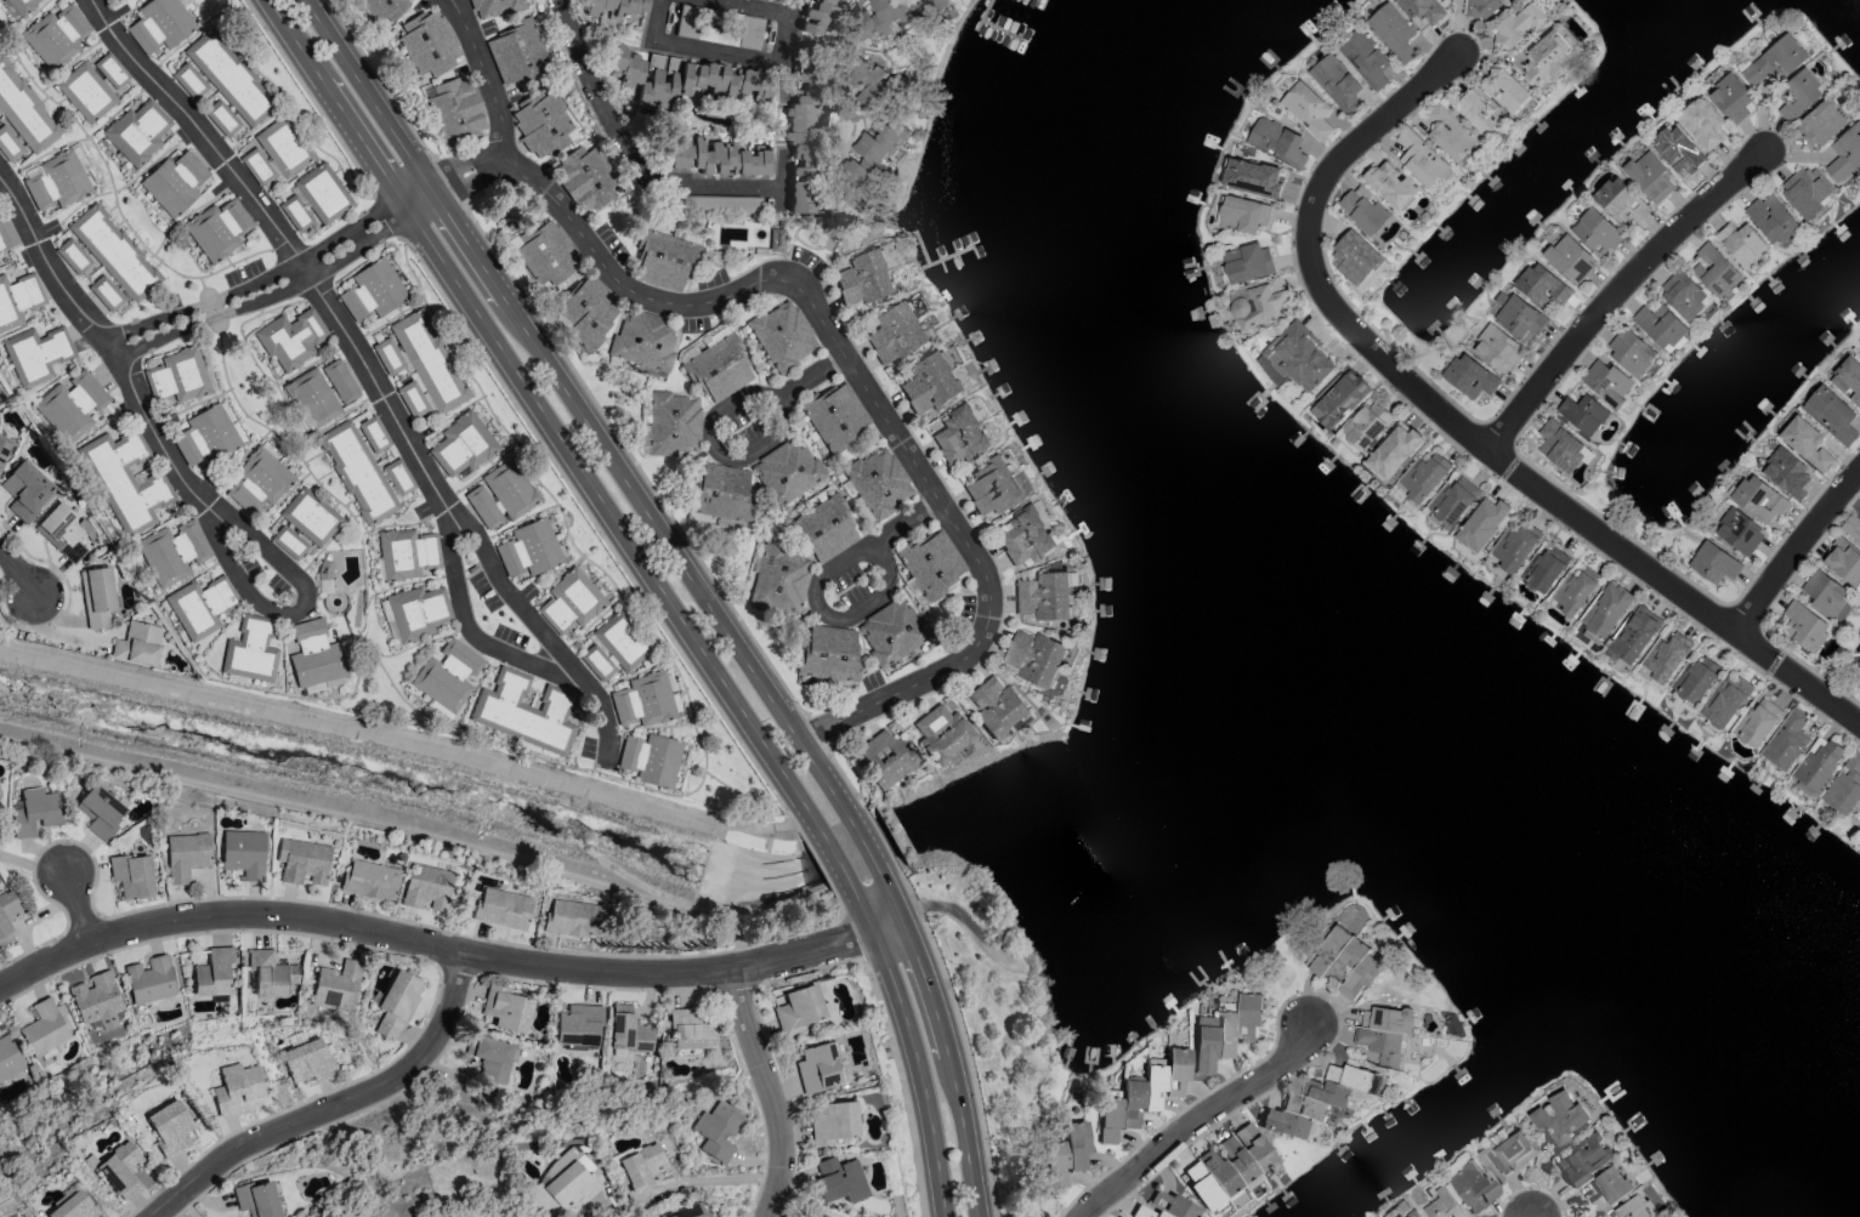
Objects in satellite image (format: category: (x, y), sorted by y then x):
building: (109, 0)
building: (22, 5)
building: (1482, 6)
building: (380, 7)
road: (453, 7)
building: (493, 7)
road: (756, 7)
building: (614, 10)
building: (1423, 10)
building: (906, 12)
road: (124, 13)
building: (818, 15)
road: (24, 22)
building: (160, 24)
building: (1521, 25)
road: (789, 30)
building: (1393, 32)
building: (57, 34)
road: (191, 36)
building: (429, 42)
road: (696, 50)
building: (516, 52)
building: (1550, 55)
road: (74, 59)
building: (1367, 61)
building: (1776, 61)
building: (108, 68)
building: (229, 78)
road: (378, 78)
building: (679, 79)
building: (188, 80)
road: (489, 83)
building: (1337, 83)
building: (11, 85)
building: (875, 85)
building: (1505, 90)
building: (85, 92)
building: (1802, 93)
road: (311, 98)
building: (1731, 98)
building: (455, 107)
road: (290, 110)
building: (1308, 110)
building: (1479, 110)
building: (221, 119)
building: (543, 123)
building: (1702, 123)
building: (1822, 123)
building: (27, 126)
building: (804, 129)
road: (254, 130)
building: (137, 131)
road: (1368, 133)
building: (1450, 133)
road: (83, 138)
building: (1275, 141)
building: (1678, 150)
building: (273, 152)
building: (1843, 155)
building: (1420, 158)
building: (715, 159)
building: (871, 160)
road: (637, 169)
building: (1650, 177)
building: (585, 178)
building: (1254, 178)
road: (450, 181)
road: (1, 182)
building: (58, 182)
building: (174, 182)
building: (1391, 184)
road: (119, 188)
building: (1805, 192)
building: (312, 199)
road: (117, 200)
building: (1621, 201)
building: (1365, 209)
road: (191, 211)
building: (1243, 215)
road: (386, 216)
building: (1771, 218)
building: (217, 228)
building: (1597, 232)
building: (6, 233)
building: (92, 239)
building: (776, 240)
building: (1741, 243)
building: (545, 252)
building: (1570, 260)
building: (662, 261)
building: (1357, 261)
building: (1248, 263)
building: (1714, 271)
building: (125, 277)
building: (864, 279)
road: (277, 283)
building: (1542, 286)
road: (1621, 289)
building: (372, 291)
building: (1683, 294)
building: (17, 298)
building: (1257, 303)
building: (585, 311)
building: (1518, 317)
building: (1661, 326)
building: (896, 334)
building: (782, 335)
road: (102, 336)
building: (291, 337)
building: (645, 339)
building: (410, 343)
building: (1496, 347)
building: (1631, 351)
building: (35, 354)
building: (1859, 357)
building: (1295, 359)
road: (846, 362)
building: (718, 368)
road: (369, 373)
road: (813, 374)
building: (178, 377)
building: (1470, 377)
building: (1848, 380)
building: (340, 381)
building: (1607, 382)
building: (929, 385)
building: (435, 386)
building: (312, 398)
building: (1338, 398)
building: (72, 404)
road: (191, 405)
building: (1583, 413)
building: (835, 415)
building: (1831, 415)
building: (673, 422)
building: (1365, 426)
building: (208, 434)
building: (958, 437)
road: (710, 439)
building: (1807, 443)
building: (463, 444)
building: (353, 445)
building: (1559, 445)
building: (4, 447)
building: (1394, 450)
road: (607, 455)
road: (575, 460)
road: (634, 461)
road: (236, 462)
building: (786, 471)
building: (1786, 471)
building: (1423, 477)
building: (129, 479)
building: (257, 480)
building: (878, 482)
building: (992, 487)
building: (379, 488)
building: (25, 490)
building: (719, 491)
building: (500, 495)
building: (1453, 500)
building: (1758, 500)
road: (1560, 501)
road: (279, 502)
building: (310, 517)
road: (907, 519)
building: (1482, 524)
building: (1852, 527)
building: (824, 529)
building: (61, 531)
building: (1740, 533)
building: (1027, 536)
building: (288, 542)
building: (1515, 546)
building: (528, 548)
road: (1798, 550)
building: (172, 552)
building: (408, 553)
building: (931, 562)
building: (1843, 562)
building: (1714, 563)
building: (1544, 569)
road: (626, 570)
road: (18, 573)
building: (776, 579)
building: (1575, 591)
building: (1824, 592)
building: (1044, 596)
building: (97, 597)
building: (569, 602)
building: (200, 605)
road: (461, 609)
building: (1606, 609)
road: (296, 612)
building: (418, 612)
road: (832, 614)
building: (1804, 626)
building: (892, 630)
building: (1634, 635)
road: (414, 643)
building: (137, 644)
building: (613, 647)
building: (250, 649)
building: (828, 652)
building: (312, 653)
building: (1034, 658)
building: (1663, 659)
road: (670, 660)
building: (447, 675)
building: (1695, 679)
building: (323, 684)
road: (330, 695)
building: (643, 699)
building: (1725, 701)
building: (503, 703)
building: (997, 706)
building: (549, 722)
building: (1757, 723)
road: (816, 732)
building: (941, 733)
building: (1786, 740)
building: (651, 758)
building: (885, 758)
building: (1818, 763)
building: (1845, 785)
road: (739, 791)
building: (100, 811)
building: (35, 812)
road: (345, 817)
building: (187, 852)
building: (243, 854)
building: (301, 860)
building: (132, 876)
building: (369, 880)
building: (425, 887)
road: (79, 905)
building: (501, 908)
road: (957, 911)
building: (7, 914)
building: (571, 917)
road: (886, 922)
road: (851, 938)
road: (431, 943)
building: (1345, 962)
building: (214, 972)
road: (942, 972)
building: (271, 973)
building: (151, 979)
building: (336, 985)
building: (98, 1000)
building: (396, 1002)
building: (505, 1008)
building: (799, 1008)
building: (374, 1018)
building: (578, 1024)
building: (45, 1028)
building: (628, 1030)
building: (691, 1030)
building: (1225, 1031)
building: (1385, 1034)
building: (490, 1057)
building: (8, 1058)
building: (307, 1060)
road: (949, 1063)
building: (817, 1068)
road: (918, 1070)
road: (905, 1085)
building: (237, 1087)
road: (769, 1091)
building: (1141, 1094)
building: (1314, 1102)
road: (334, 1104)
building: (1559, 1118)
road: (1195, 1119)
building: (834, 1122)
building: (170, 1128)
building: (718, 1131)
building: (1065, 1151)
building: (1244, 1151)
building: (1507, 1155)
building: (1583, 1159)
building: (641, 1166)
building: (120, 1168)
road: (708, 1178)
building: (1209, 1178)
building: (839, 1179)
building: (571, 1185)
building: (1470, 1187)
building: (1607, 1189)
building: (538, 1194)
building: (257, 1199)
road: (603, 1205)
building: (1441, 1205)
building: (73, 1206)
building: (1164, 1206)
building: (1631, 1209)
building: (1406, 1210)
building: (687, 1211)
building: (821, 1216)
building: (1117, 1216)

